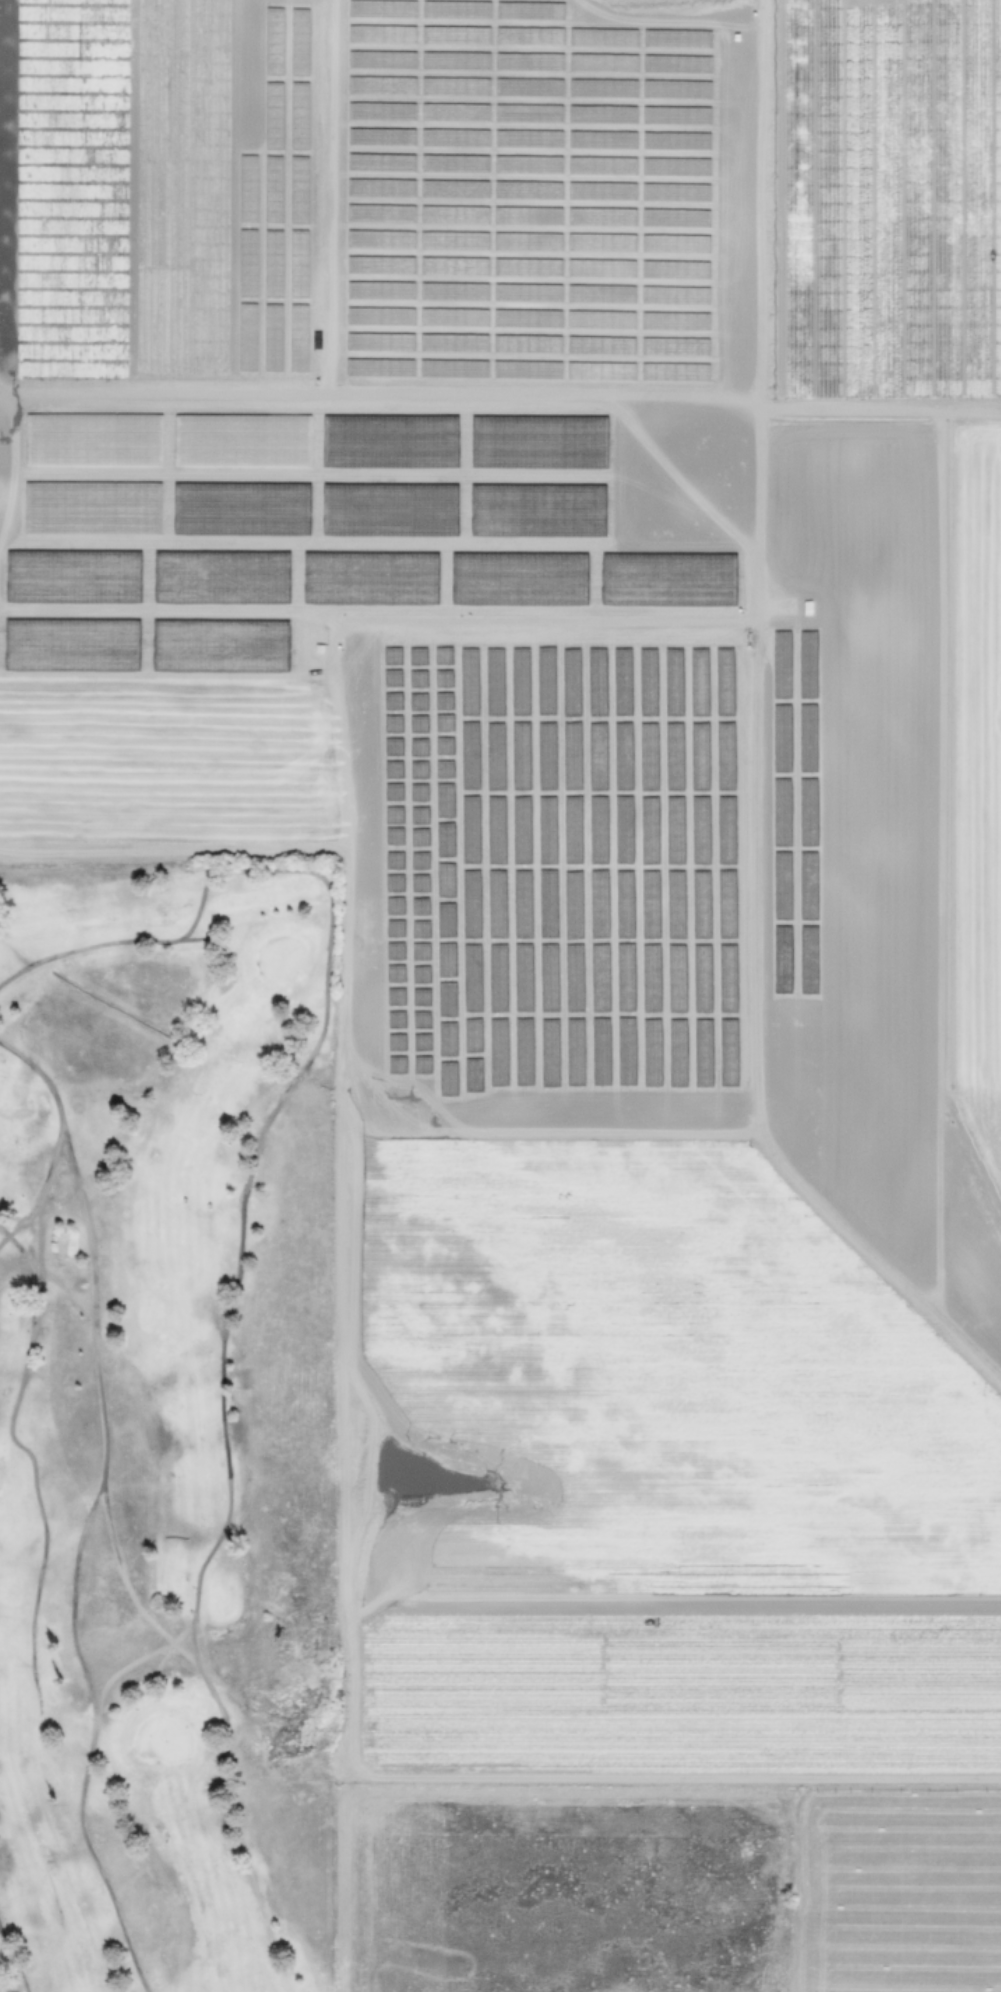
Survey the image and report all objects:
road: (747, 829)

